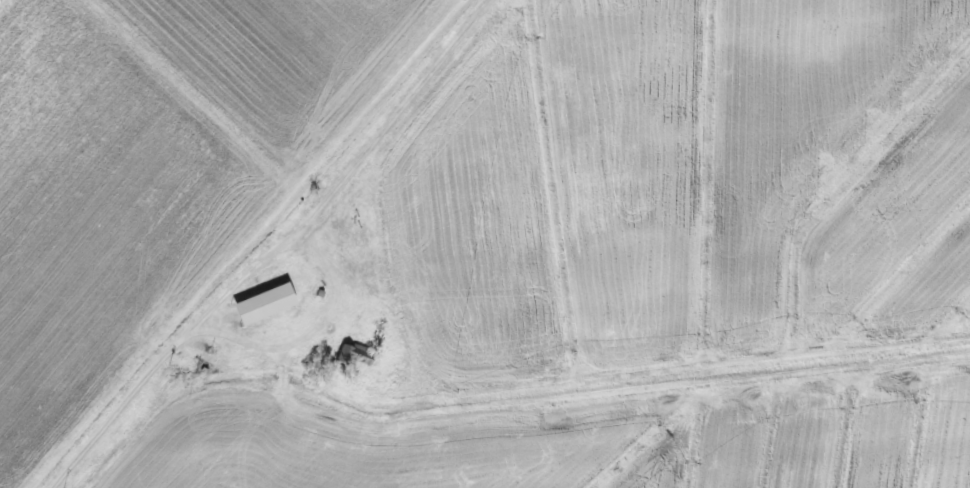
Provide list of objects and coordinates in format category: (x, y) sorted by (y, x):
building: (264, 305)
airport runway: (811, 330)

